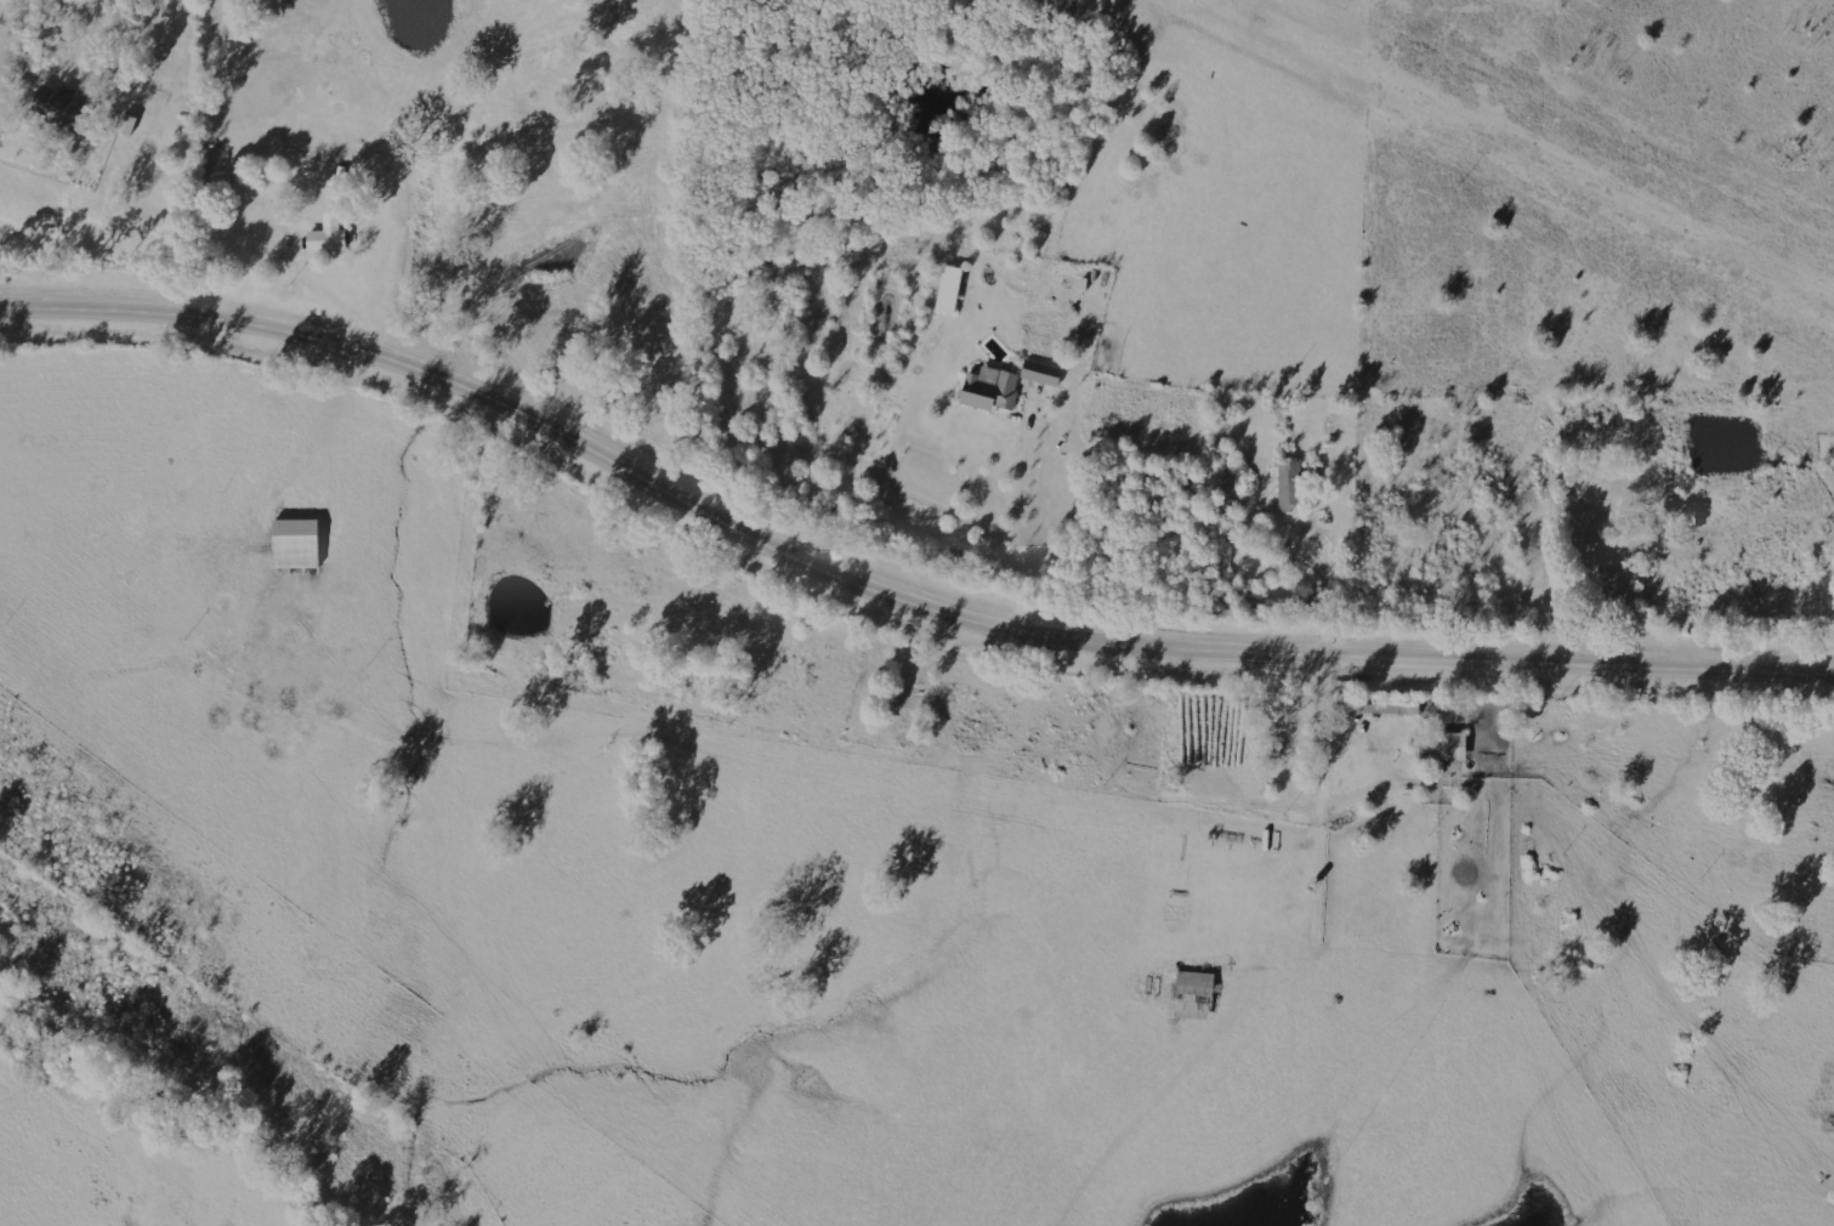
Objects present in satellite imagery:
building: (63, 108)
building: (130, 125)
building: (331, 238)
building: (1044, 373)
building: (994, 388)
building: (1291, 484)
road: (890, 602)
building: (1197, 995)

